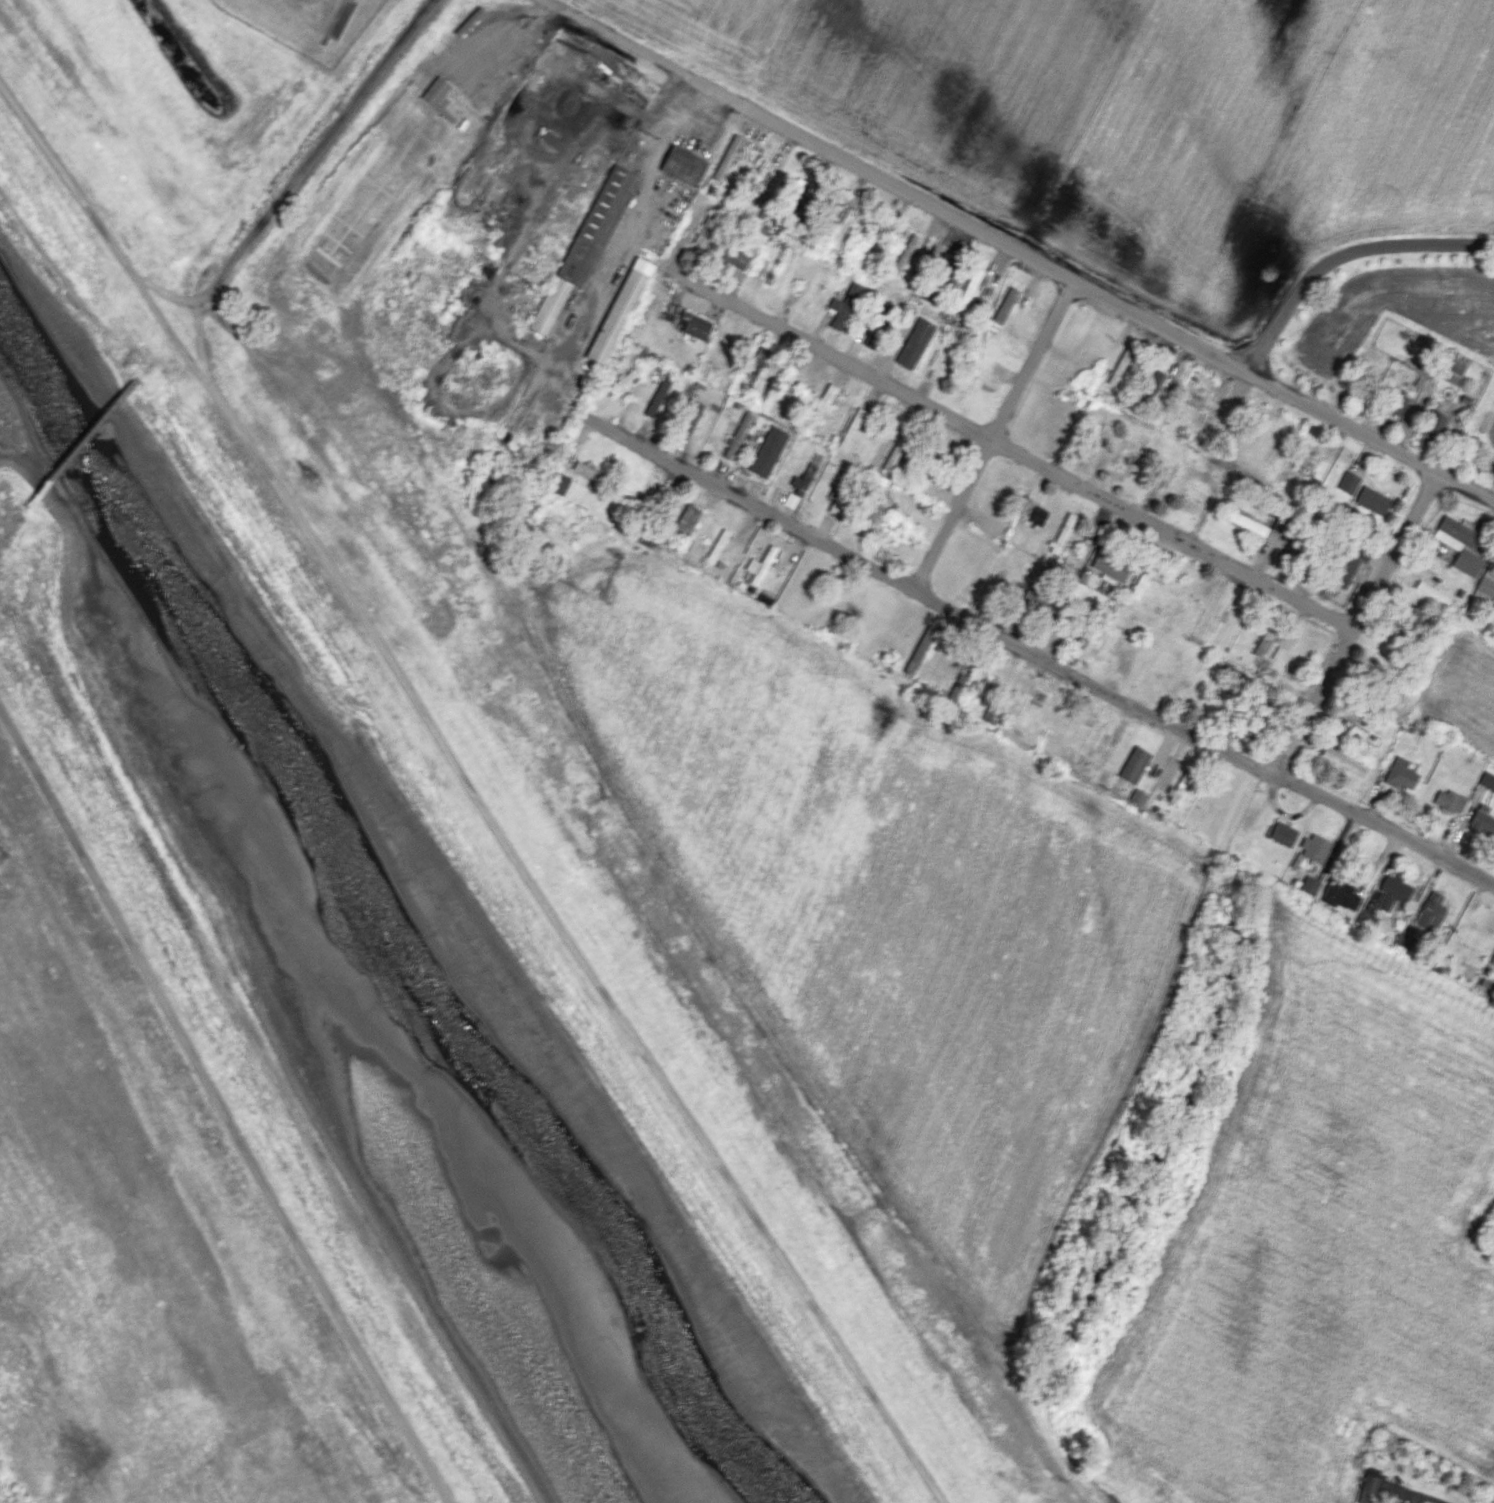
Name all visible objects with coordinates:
power tower: (633, 78)
crop: (1135, 122)
road: (1020, 251)
road: (1344, 258)
road: (996, 435)
railway: (81, 440)
road: (643, 445)
road: (1011, 449)
power tower: (308, 474)
road: (1337, 663)
road: (1091, 683)
road: (471, 796)
power tower: (2, 855)
crop: (852, 895)
road: (217, 1109)
crop: (1319, 1255)
crop: (114, 1256)

